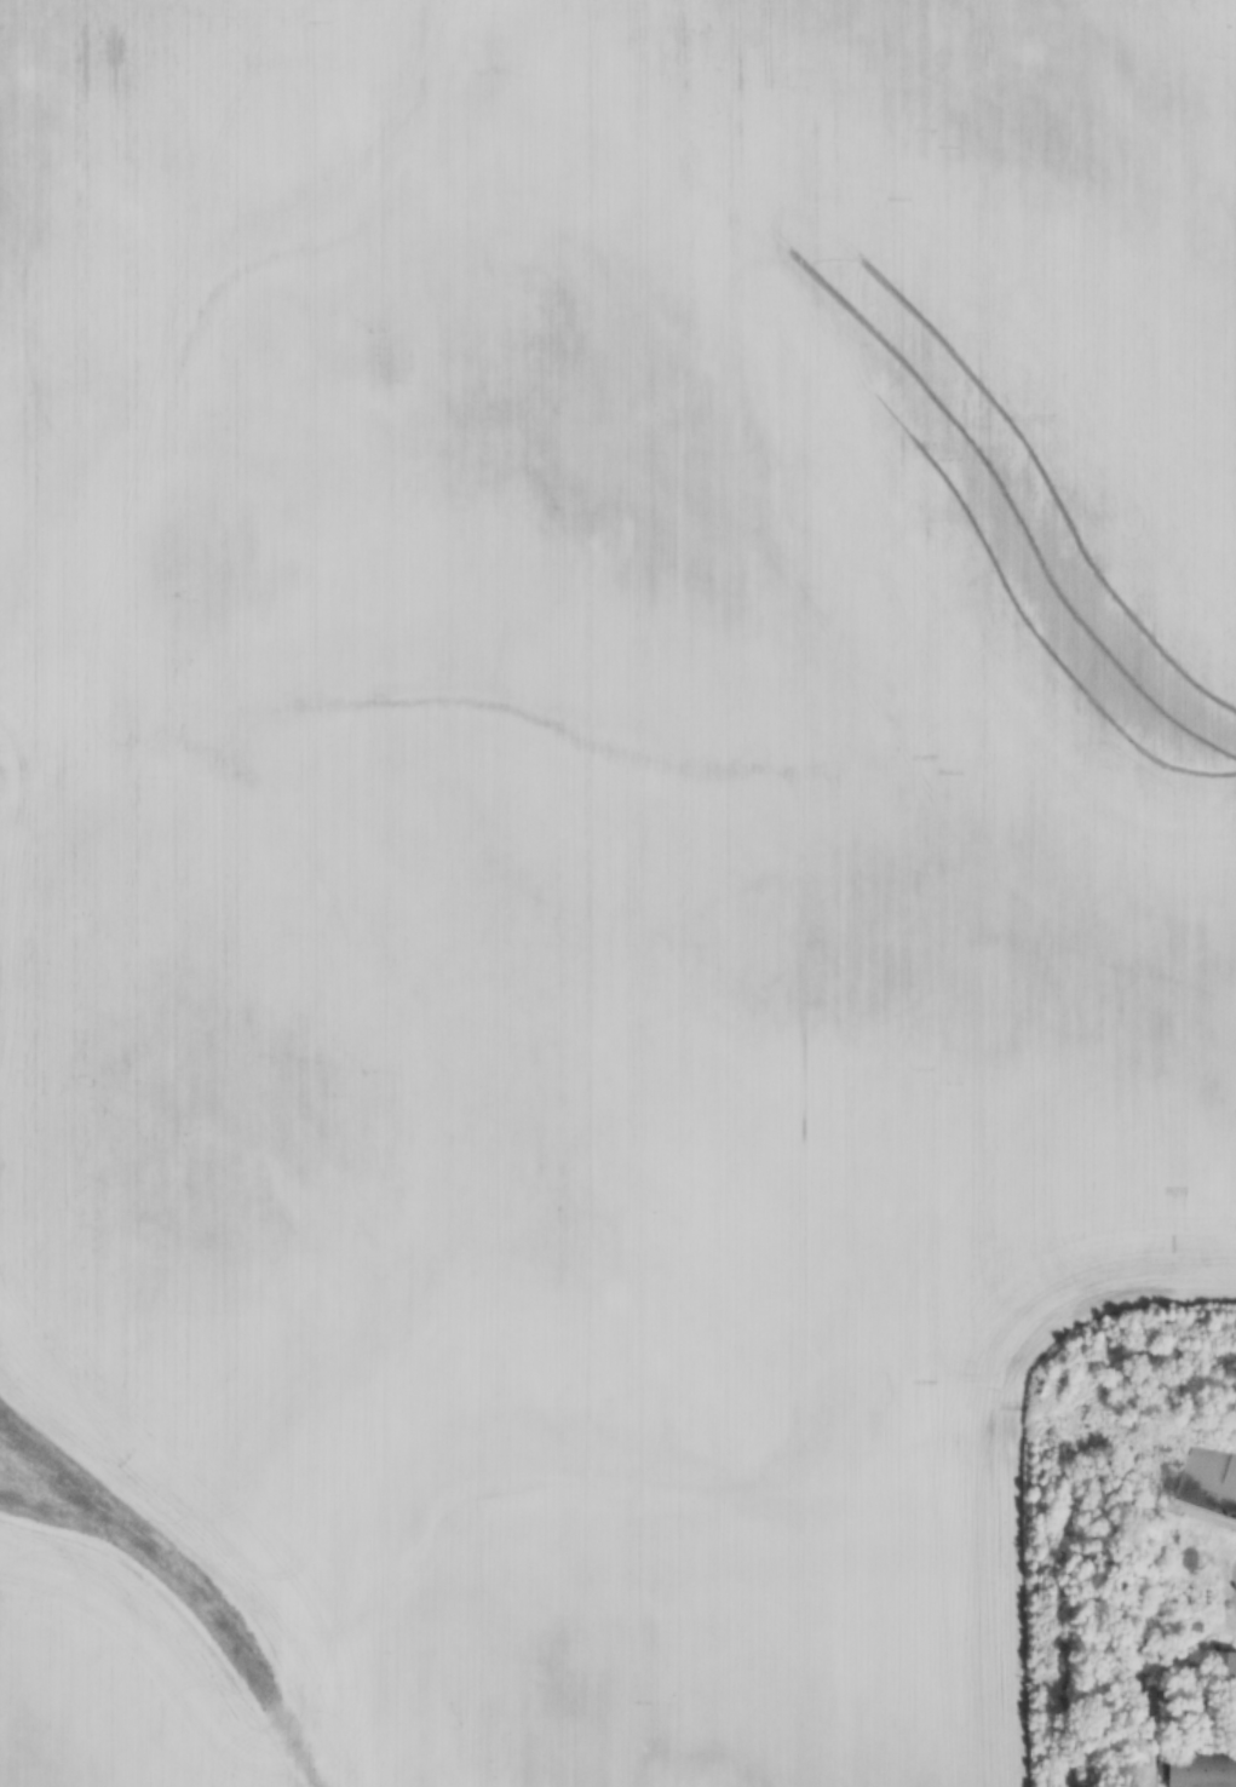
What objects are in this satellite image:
building: (1224, 1664)
building: (1200, 1769)

